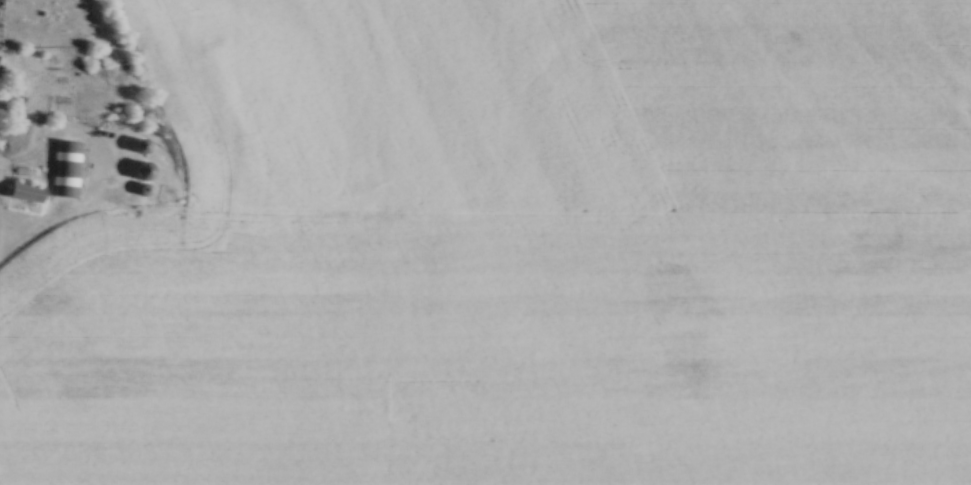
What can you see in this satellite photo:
building: (66, 163)
building: (141, 169)
building: (24, 190)

